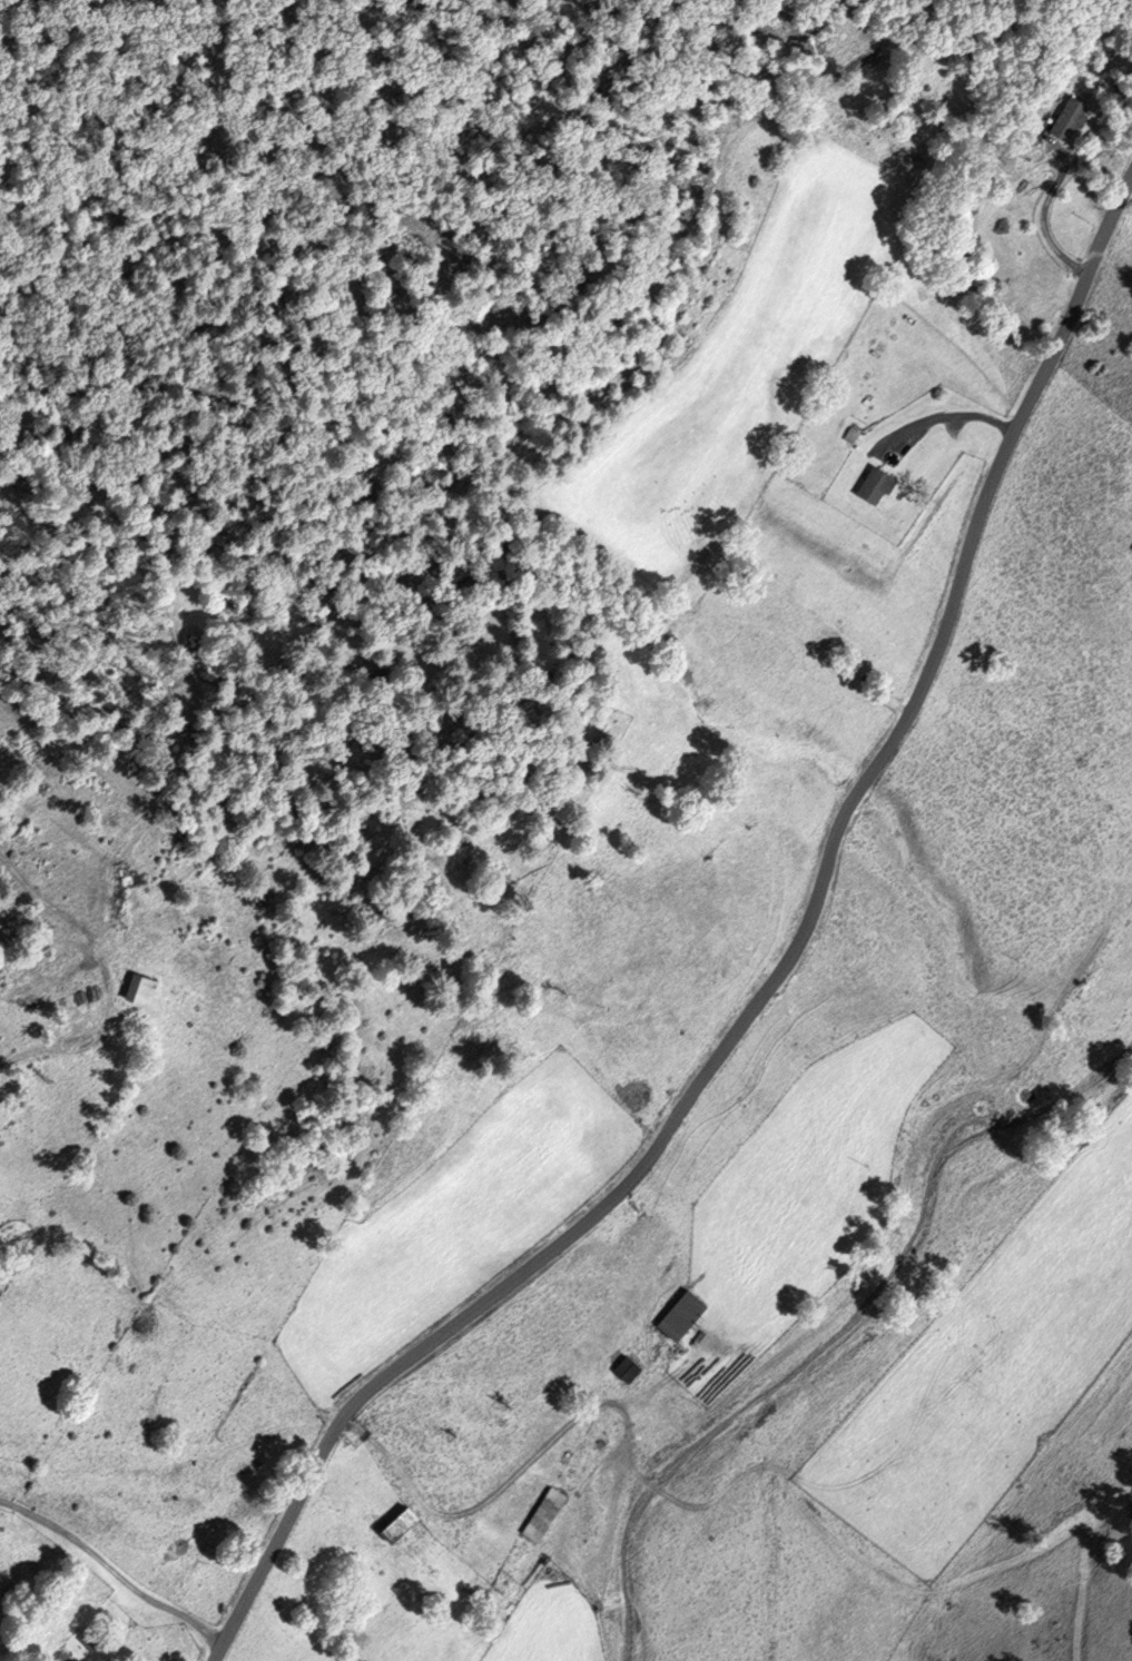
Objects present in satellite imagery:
building: (1065, 120)
road: (1043, 228)
road: (945, 416)
building: (870, 486)
road: (104, 980)
road: (764, 983)
building: (136, 993)
building: (3, 1242)
building: (677, 1318)
building: (541, 1517)
building: (393, 1525)
road: (111, 1569)
building: (91, 1641)

